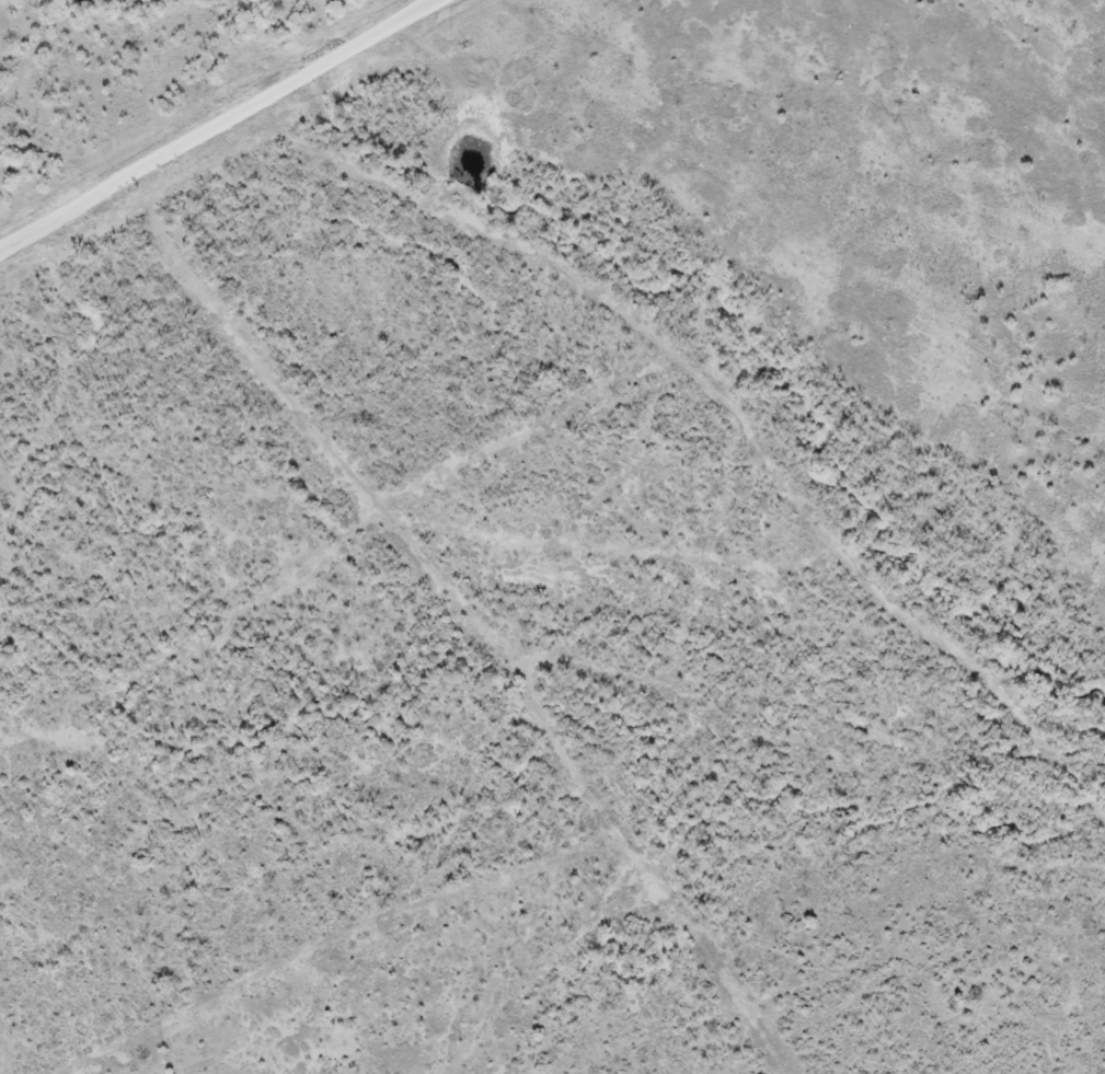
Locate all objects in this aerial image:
road: (218, 126)

